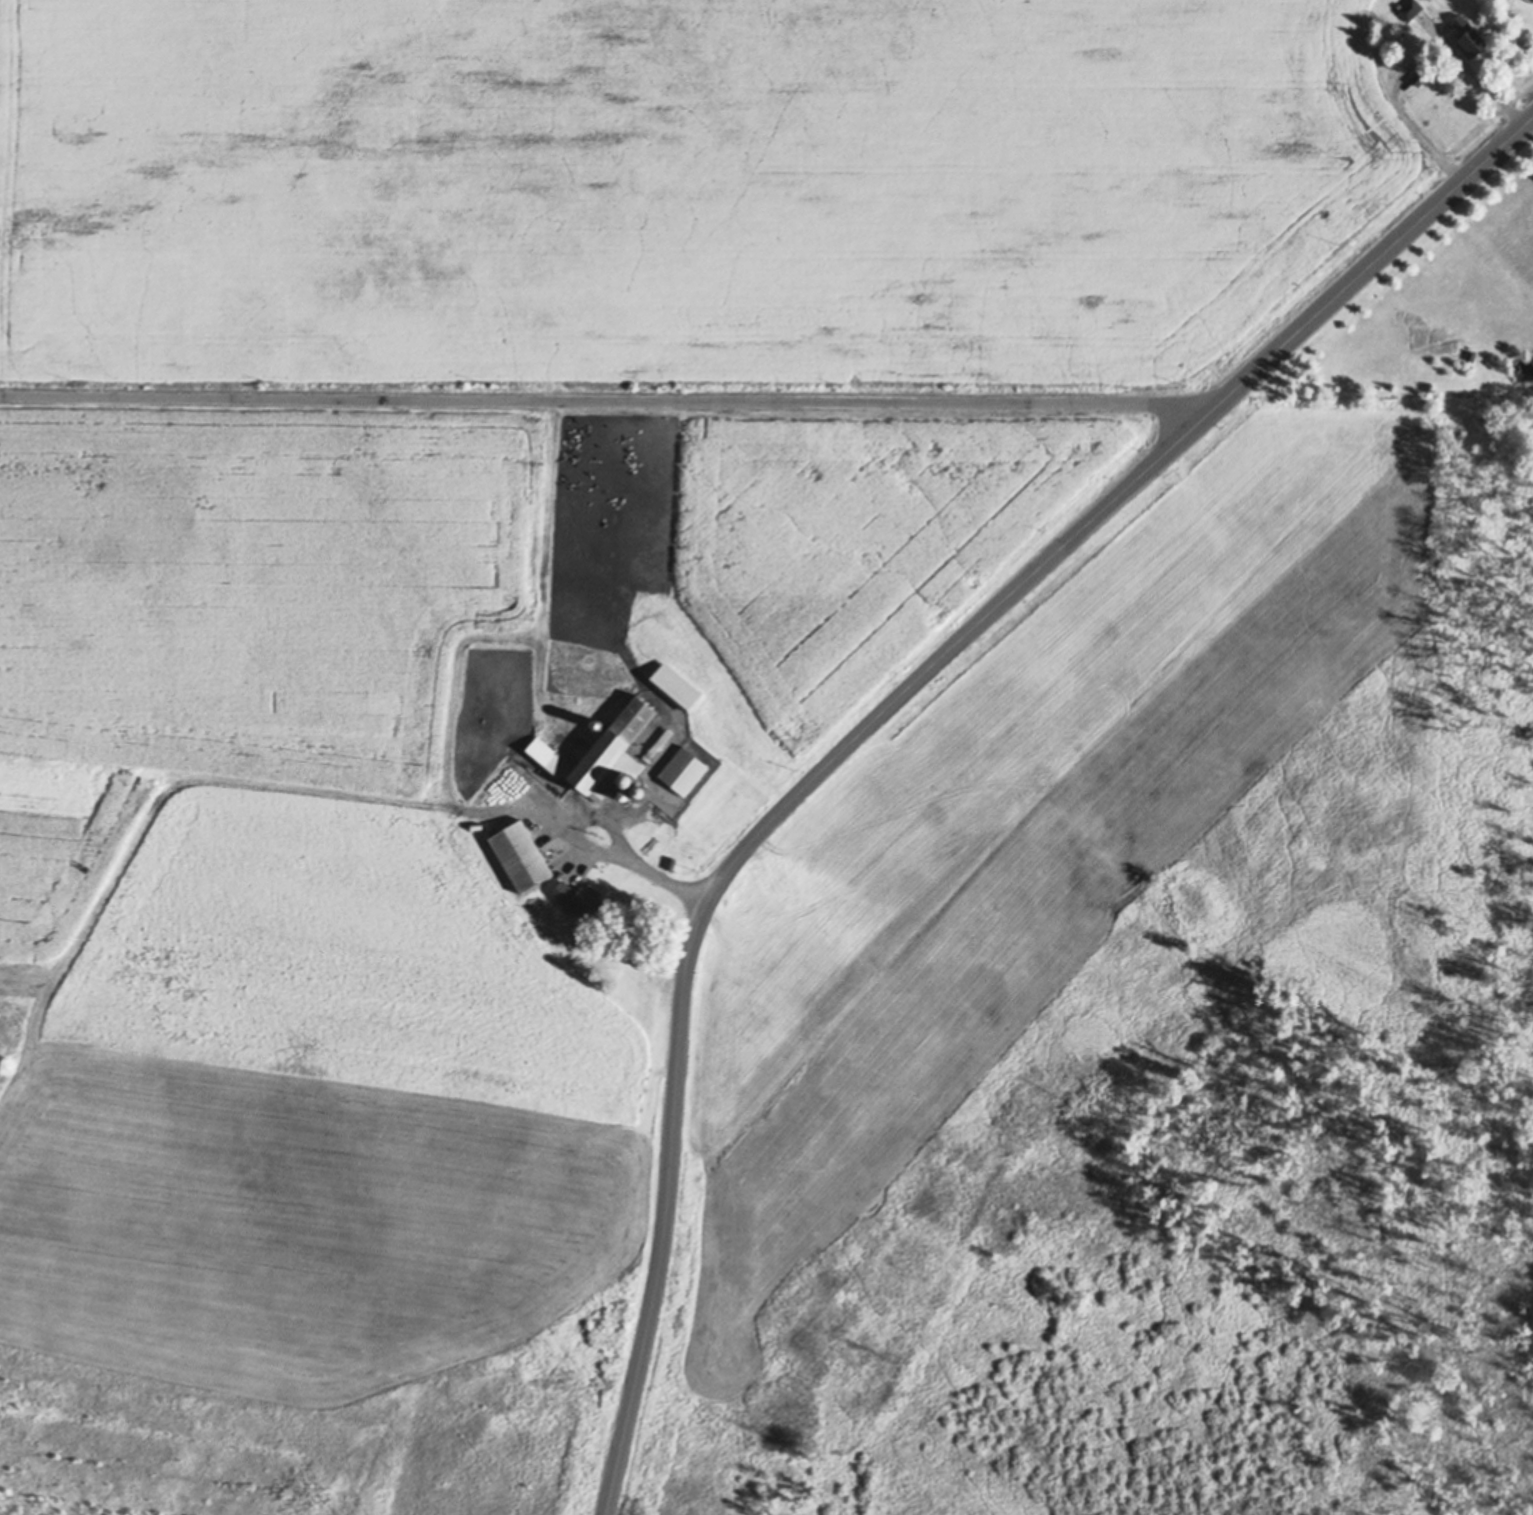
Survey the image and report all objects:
building: (1411, 8)
building: (1469, 34)
road: (1406, 56)
building: (1421, 74)
crop: (680, 186)
road: (1366, 270)
building: (1472, 354)
road: (603, 402)
building: (675, 687)
crop: (430, 688)
building: (596, 725)
building: (664, 739)
building: (616, 749)
building: (540, 750)
building: (558, 766)
building: (684, 771)
building: (621, 779)
building: (640, 789)
building: (625, 794)
building: (545, 806)
building: (522, 856)
road: (636, 860)
road: (730, 876)
building: (578, 900)
building: (553, 935)

